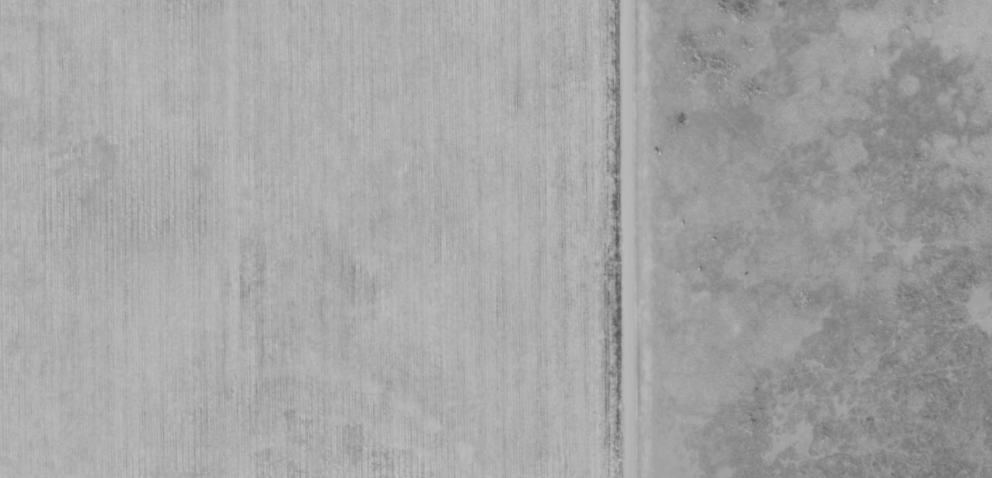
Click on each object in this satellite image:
road: (628, 239)

